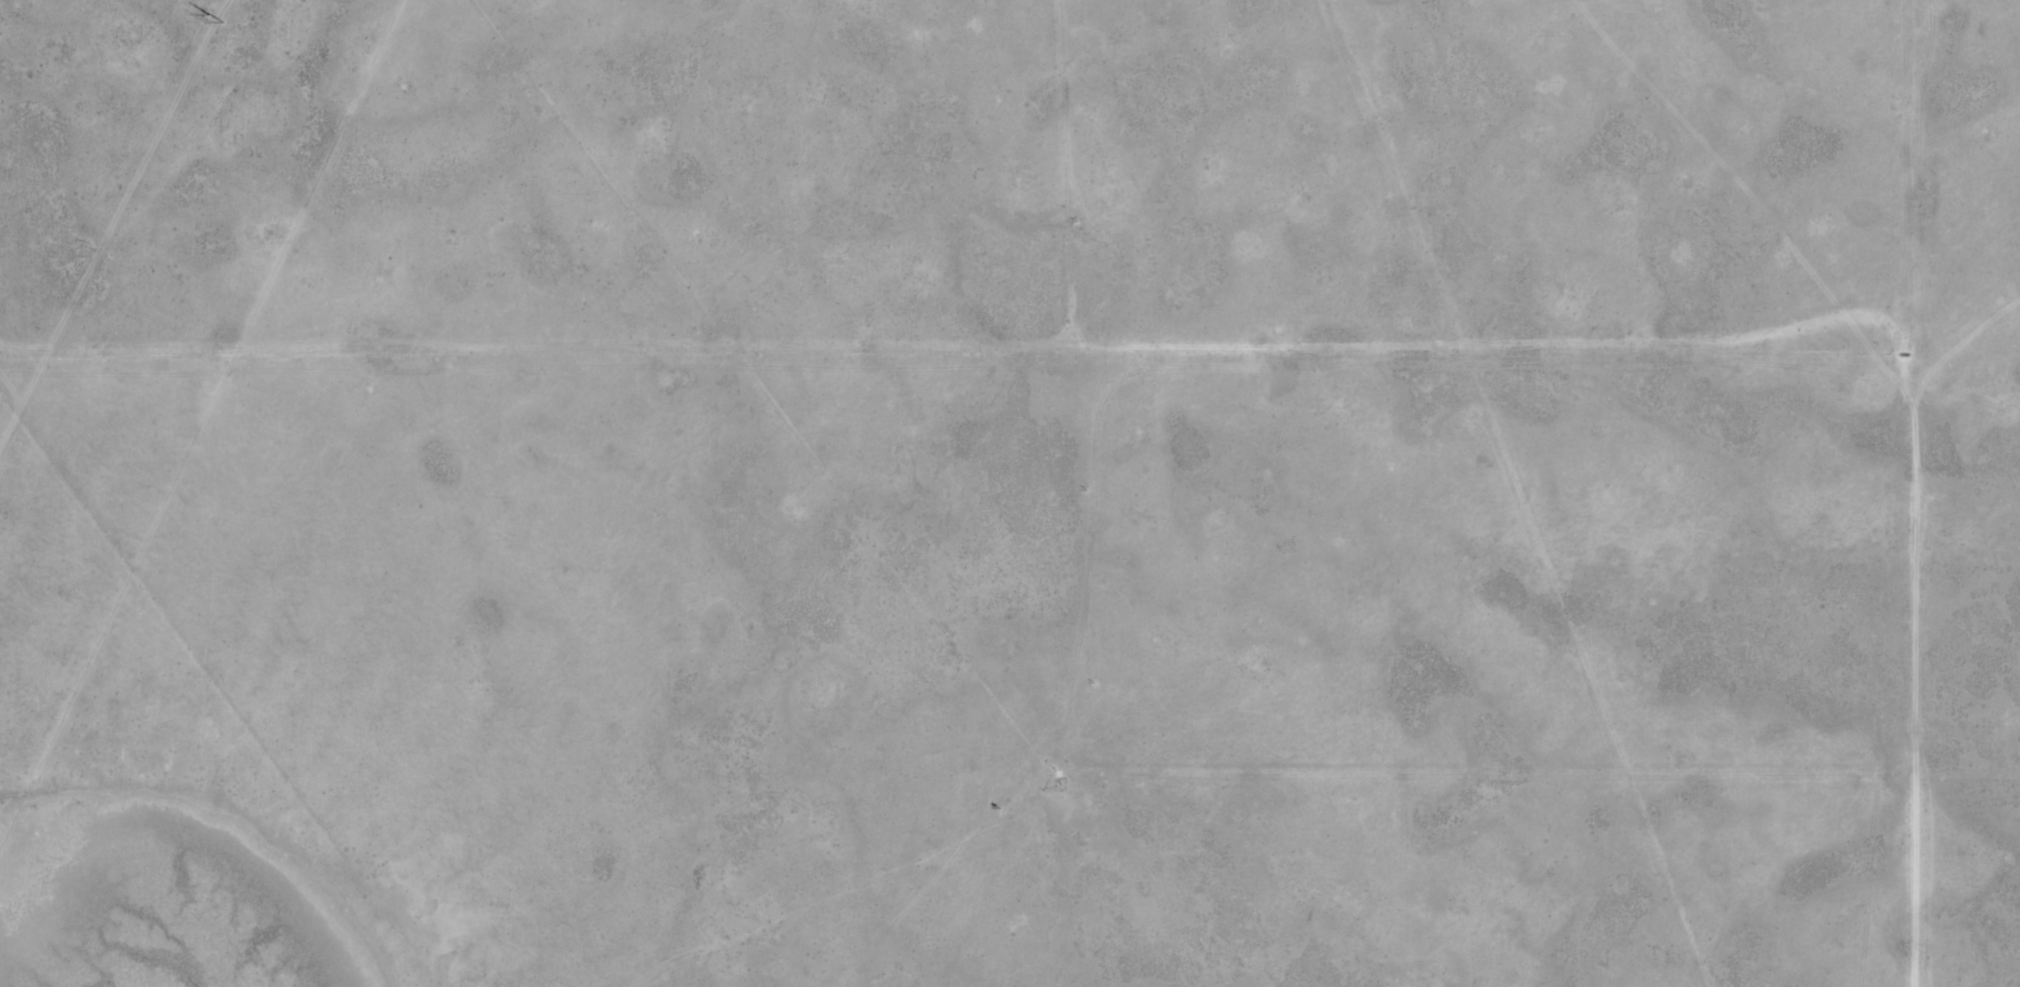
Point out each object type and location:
power tower: (221, 21)

